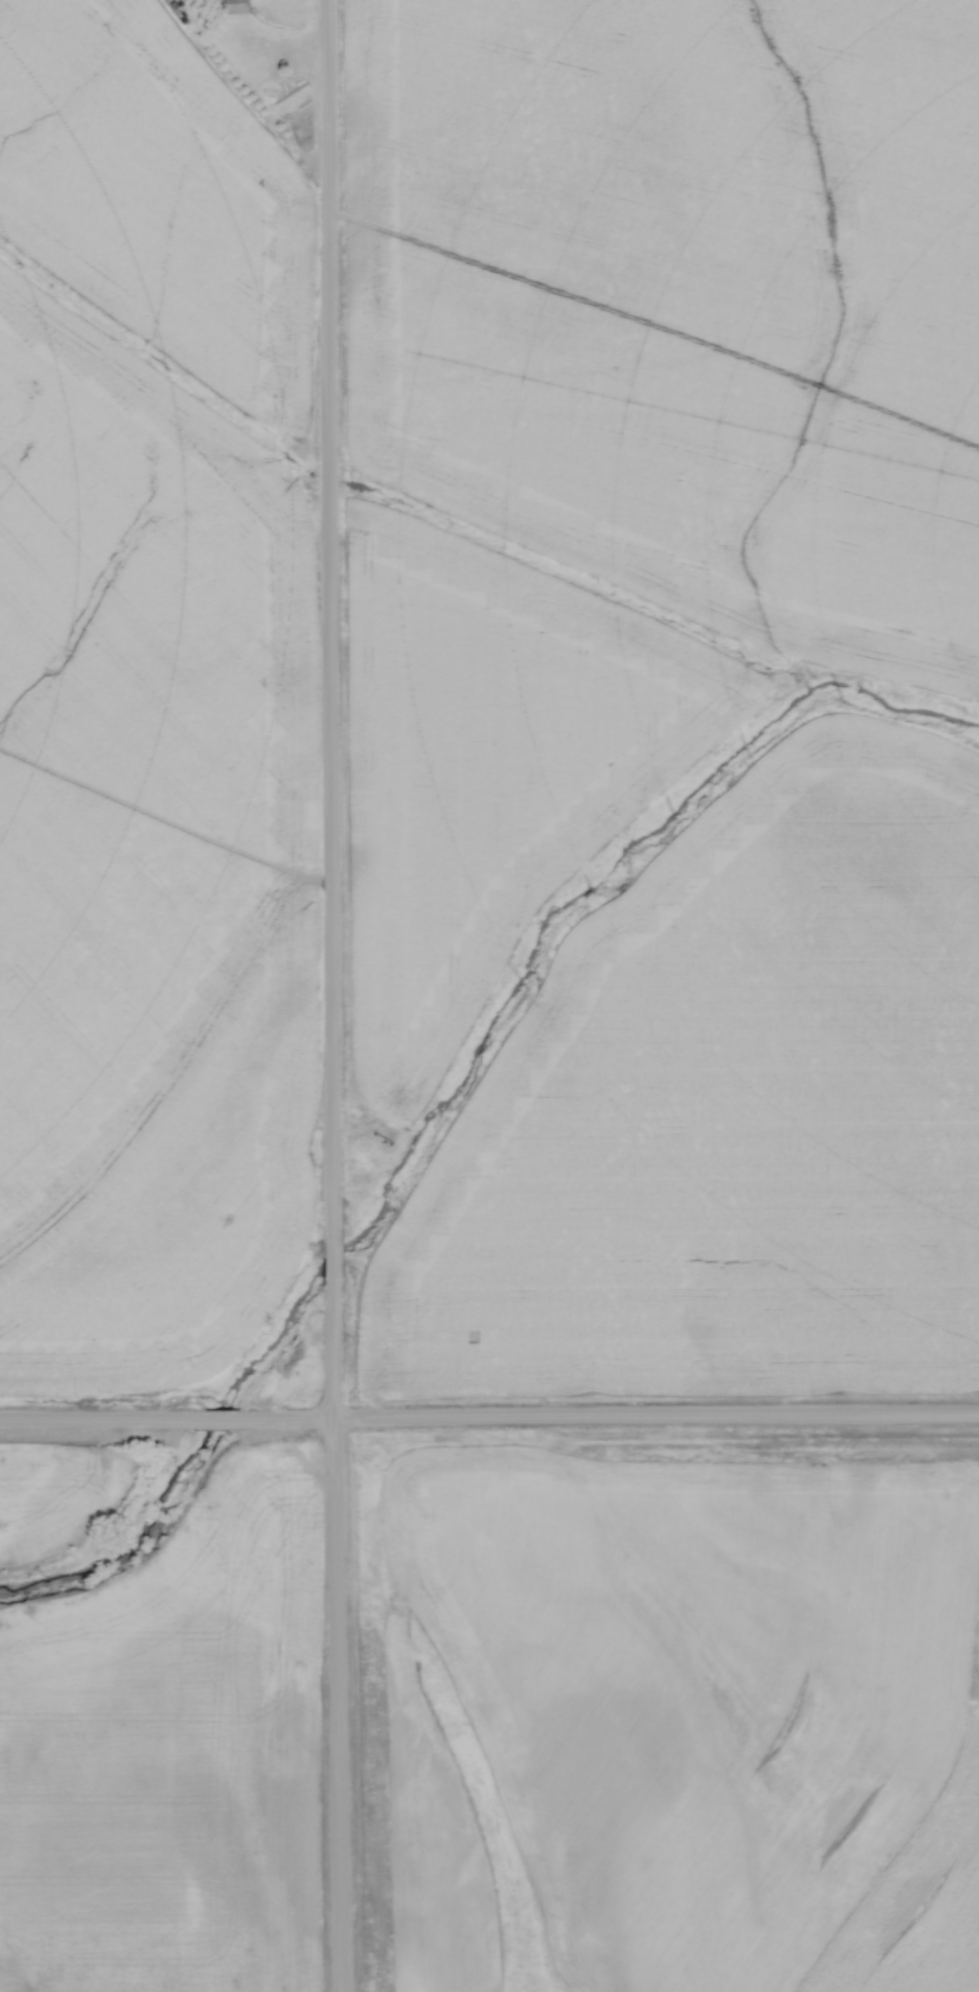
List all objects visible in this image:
building: (230, 0)
road: (328, 623)
river: (459, 1093)
road: (337, 1267)
road: (612, 1418)
road: (222, 1420)
road: (99, 1421)
road: (340, 1639)

